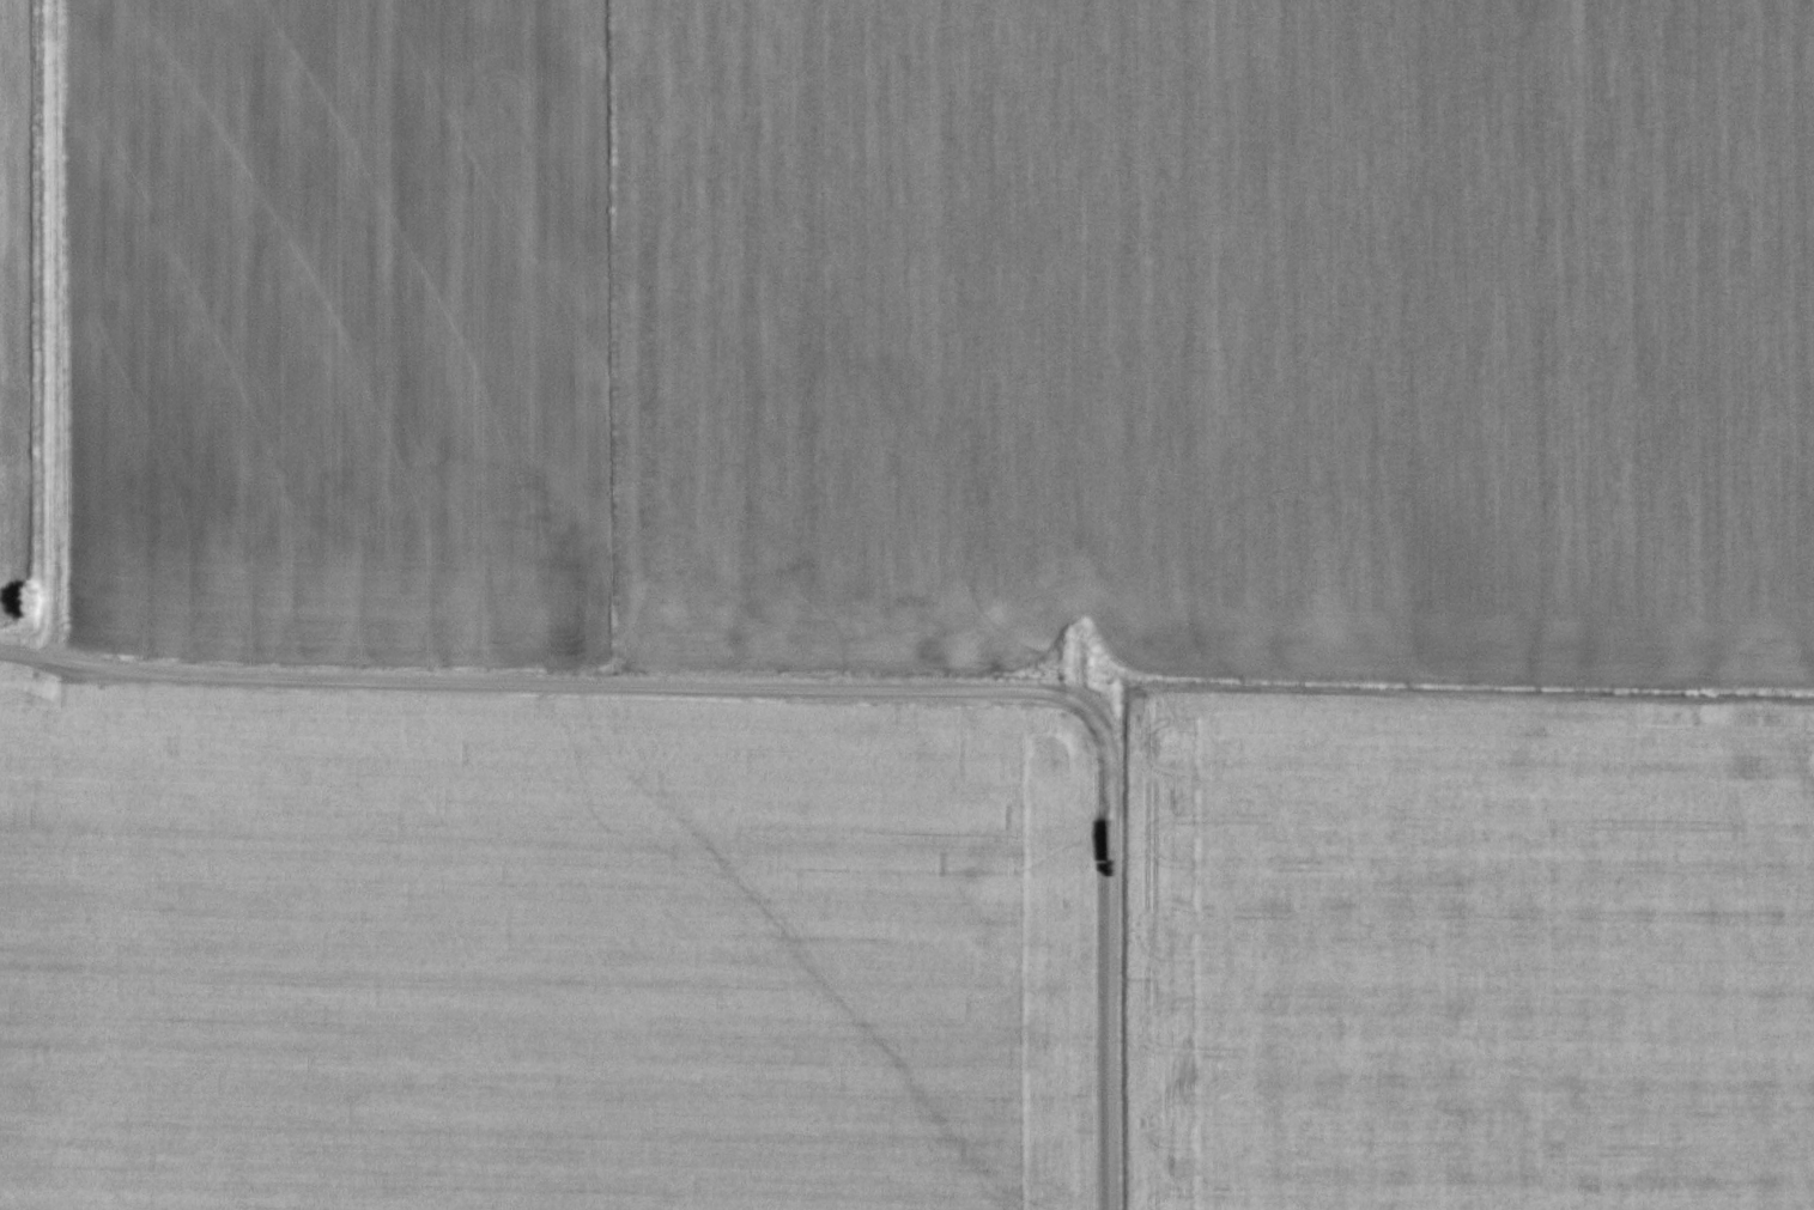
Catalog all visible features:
road: (26, 653)
road: (498, 680)

